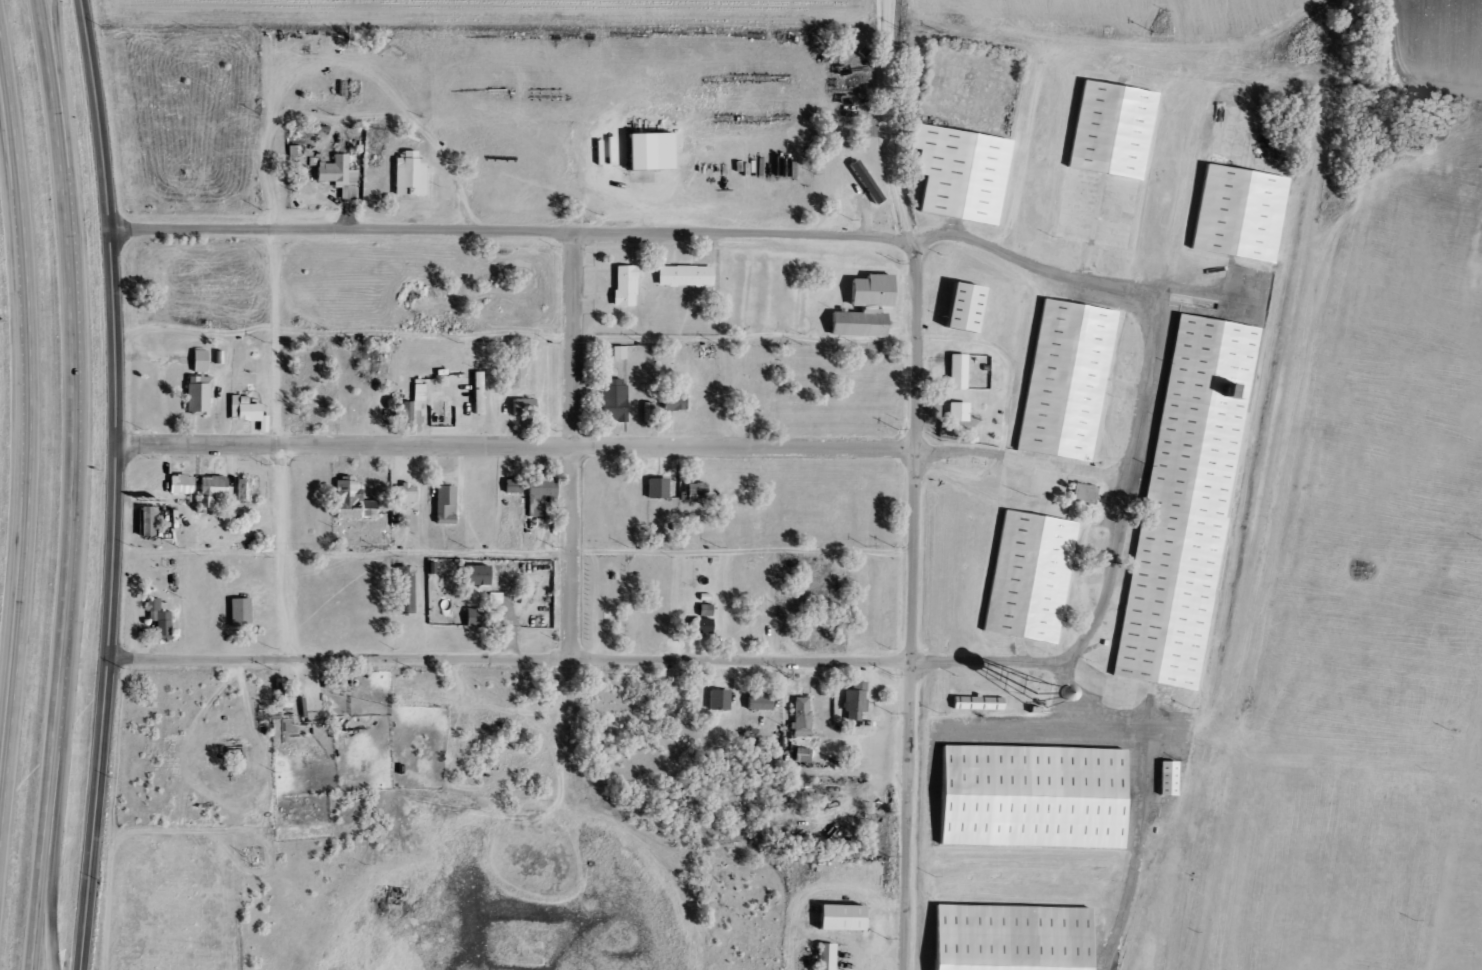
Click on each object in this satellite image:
road: (887, 13)
road: (55, 59)
road: (6, 104)
building: (1120, 131)
building: (644, 151)
building: (343, 170)
building: (419, 175)
building: (969, 175)
building: (1247, 216)
road: (508, 230)
building: (681, 276)
building: (621, 286)
road: (1108, 286)
building: (866, 291)
building: (972, 307)
building: (853, 323)
road: (428, 340)
building: (615, 353)
building: (228, 359)
building: (953, 372)
building: (1074, 383)
building: (195, 387)
building: (207, 387)
building: (474, 393)
building: (609, 400)
building: (671, 402)
building: (520, 407)
building: (404, 411)
building: (244, 412)
building: (954, 412)
building: (261, 418)
road: (28, 441)
road: (284, 442)
road: (574, 444)
road: (514, 446)
road: (1018, 458)
road: (70, 484)
road: (115, 484)
railway: (1248, 484)
building: (177, 485)
building: (509, 486)
building: (654, 488)
building: (240, 490)
building: (693, 491)
building: (206, 492)
building: (403, 493)
building: (1080, 493)
building: (535, 495)
road: (912, 497)
building: (348, 502)
building: (1194, 503)
building: (441, 505)
building: (145, 521)
road: (512, 556)
road: (1110, 563)
building: (472, 575)
building: (1038, 578)
building: (400, 590)
building: (236, 612)
building: (471, 617)
building: (156, 620)
building: (698, 625)
road: (507, 657)
road: (992, 663)
building: (715, 700)
building: (851, 700)
building: (755, 701)
building: (987, 708)
building: (798, 717)
road: (5, 754)
building: (799, 755)
building: (1164, 779)
building: (1177, 780)
building: (1041, 799)
road: (55, 871)
building: (850, 920)
building: (1020, 938)
building: (822, 956)
building: (835, 958)

